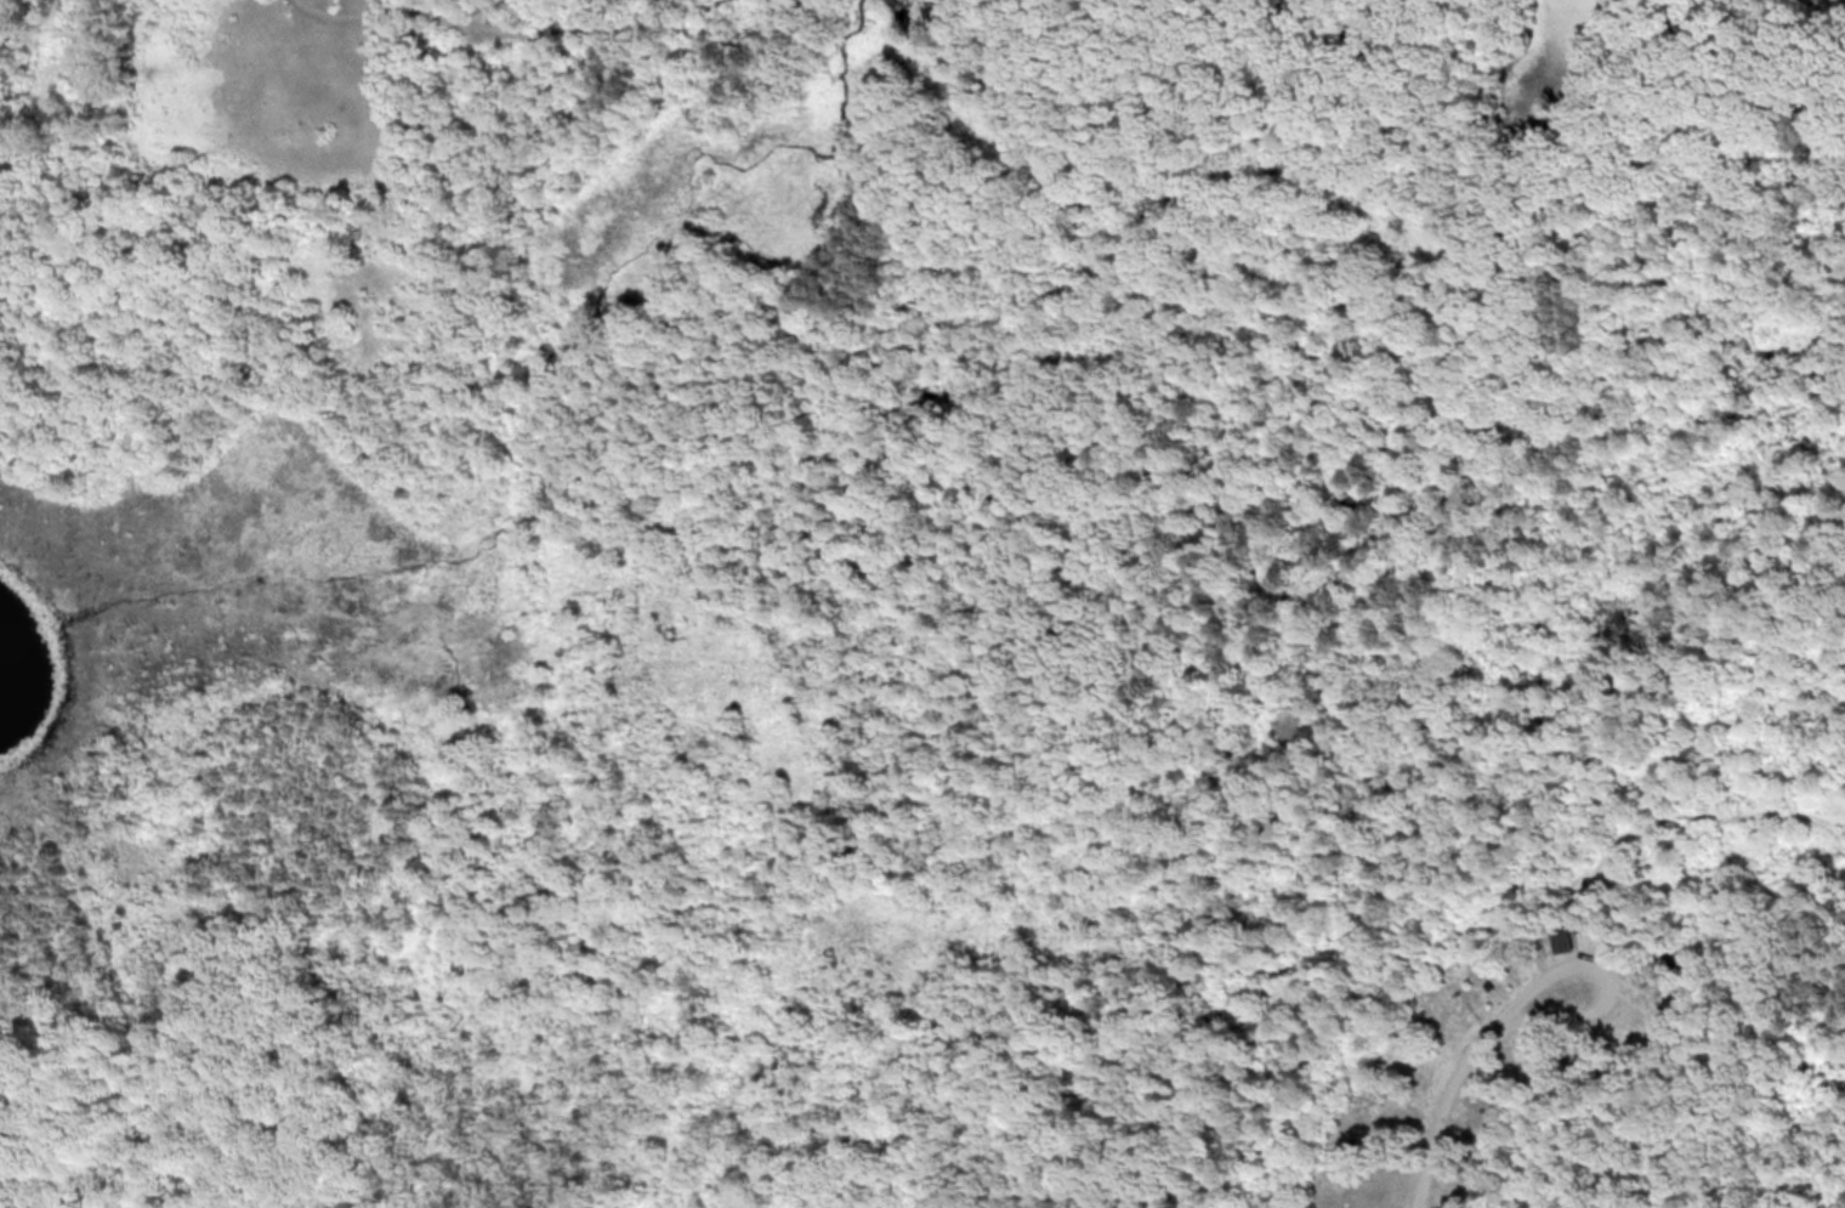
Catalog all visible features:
park: (923, 603)
building: (1560, 931)
road: (1606, 975)
road: (1442, 1106)

